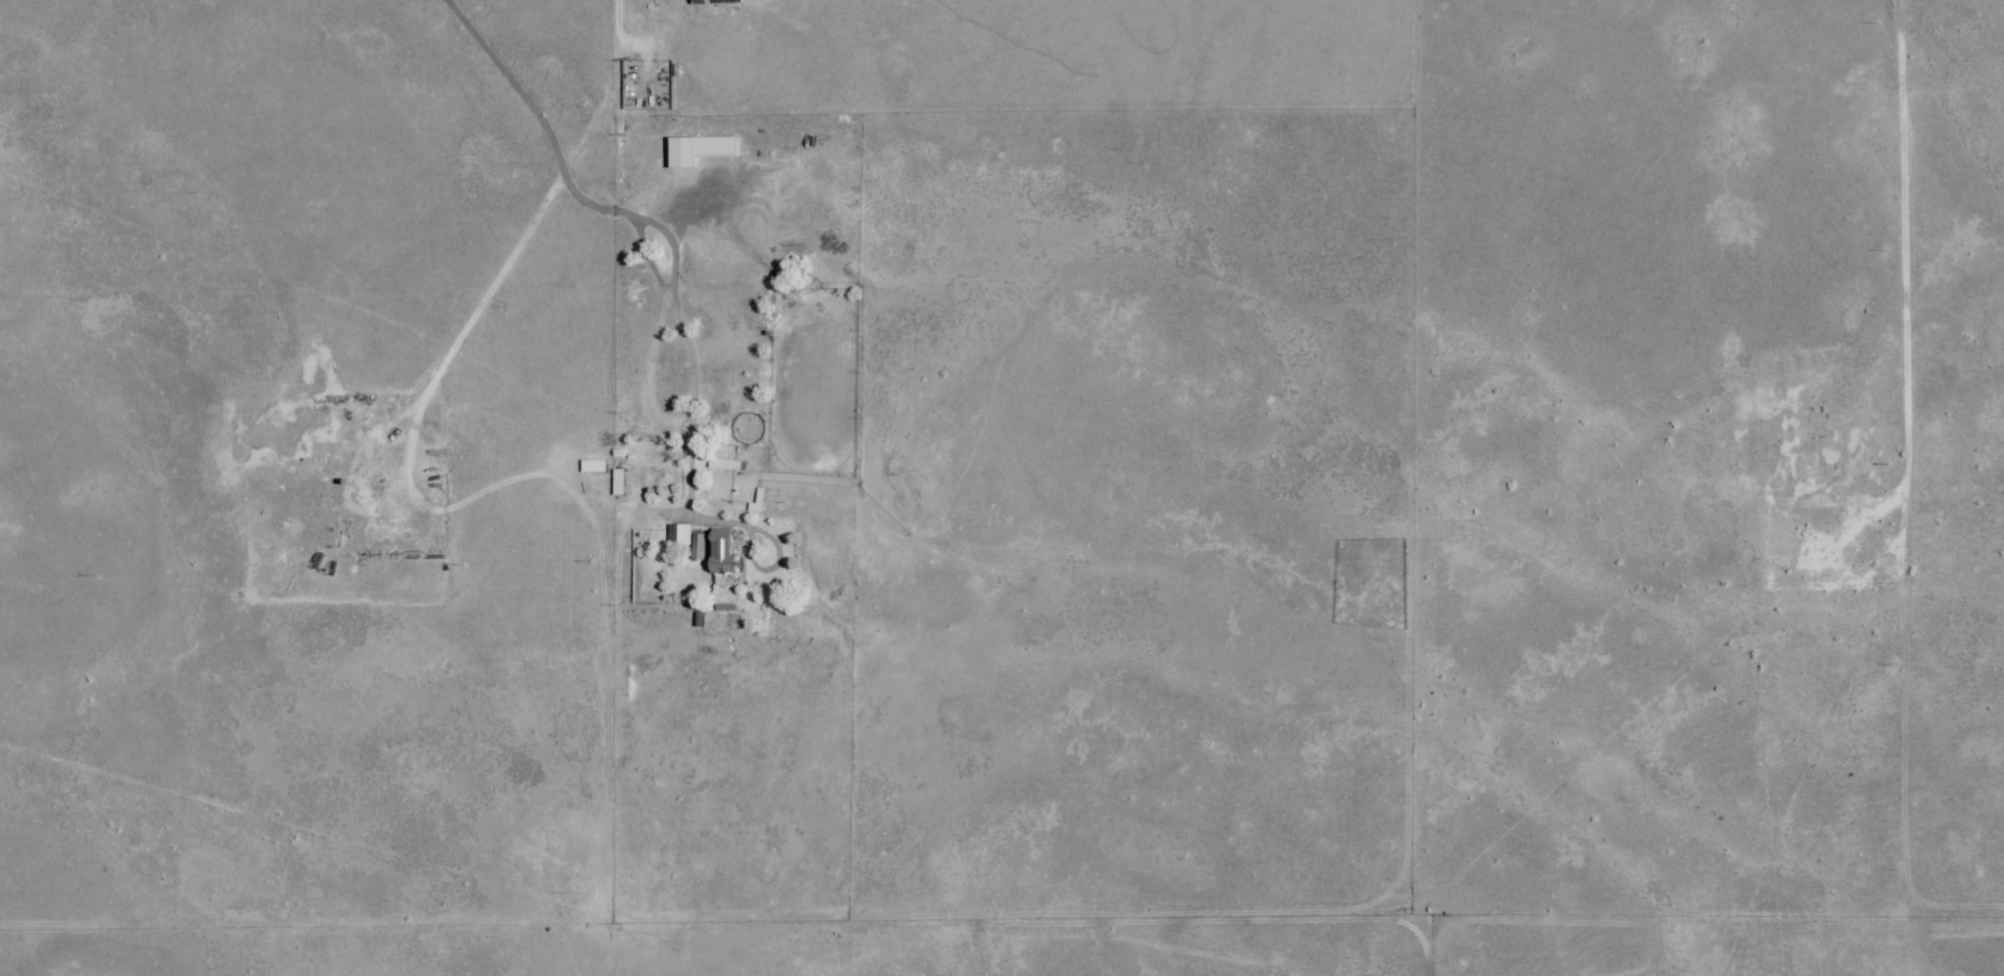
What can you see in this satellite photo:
building: (697, 151)
road: (656, 277)
road: (1920, 283)
road: (457, 372)

